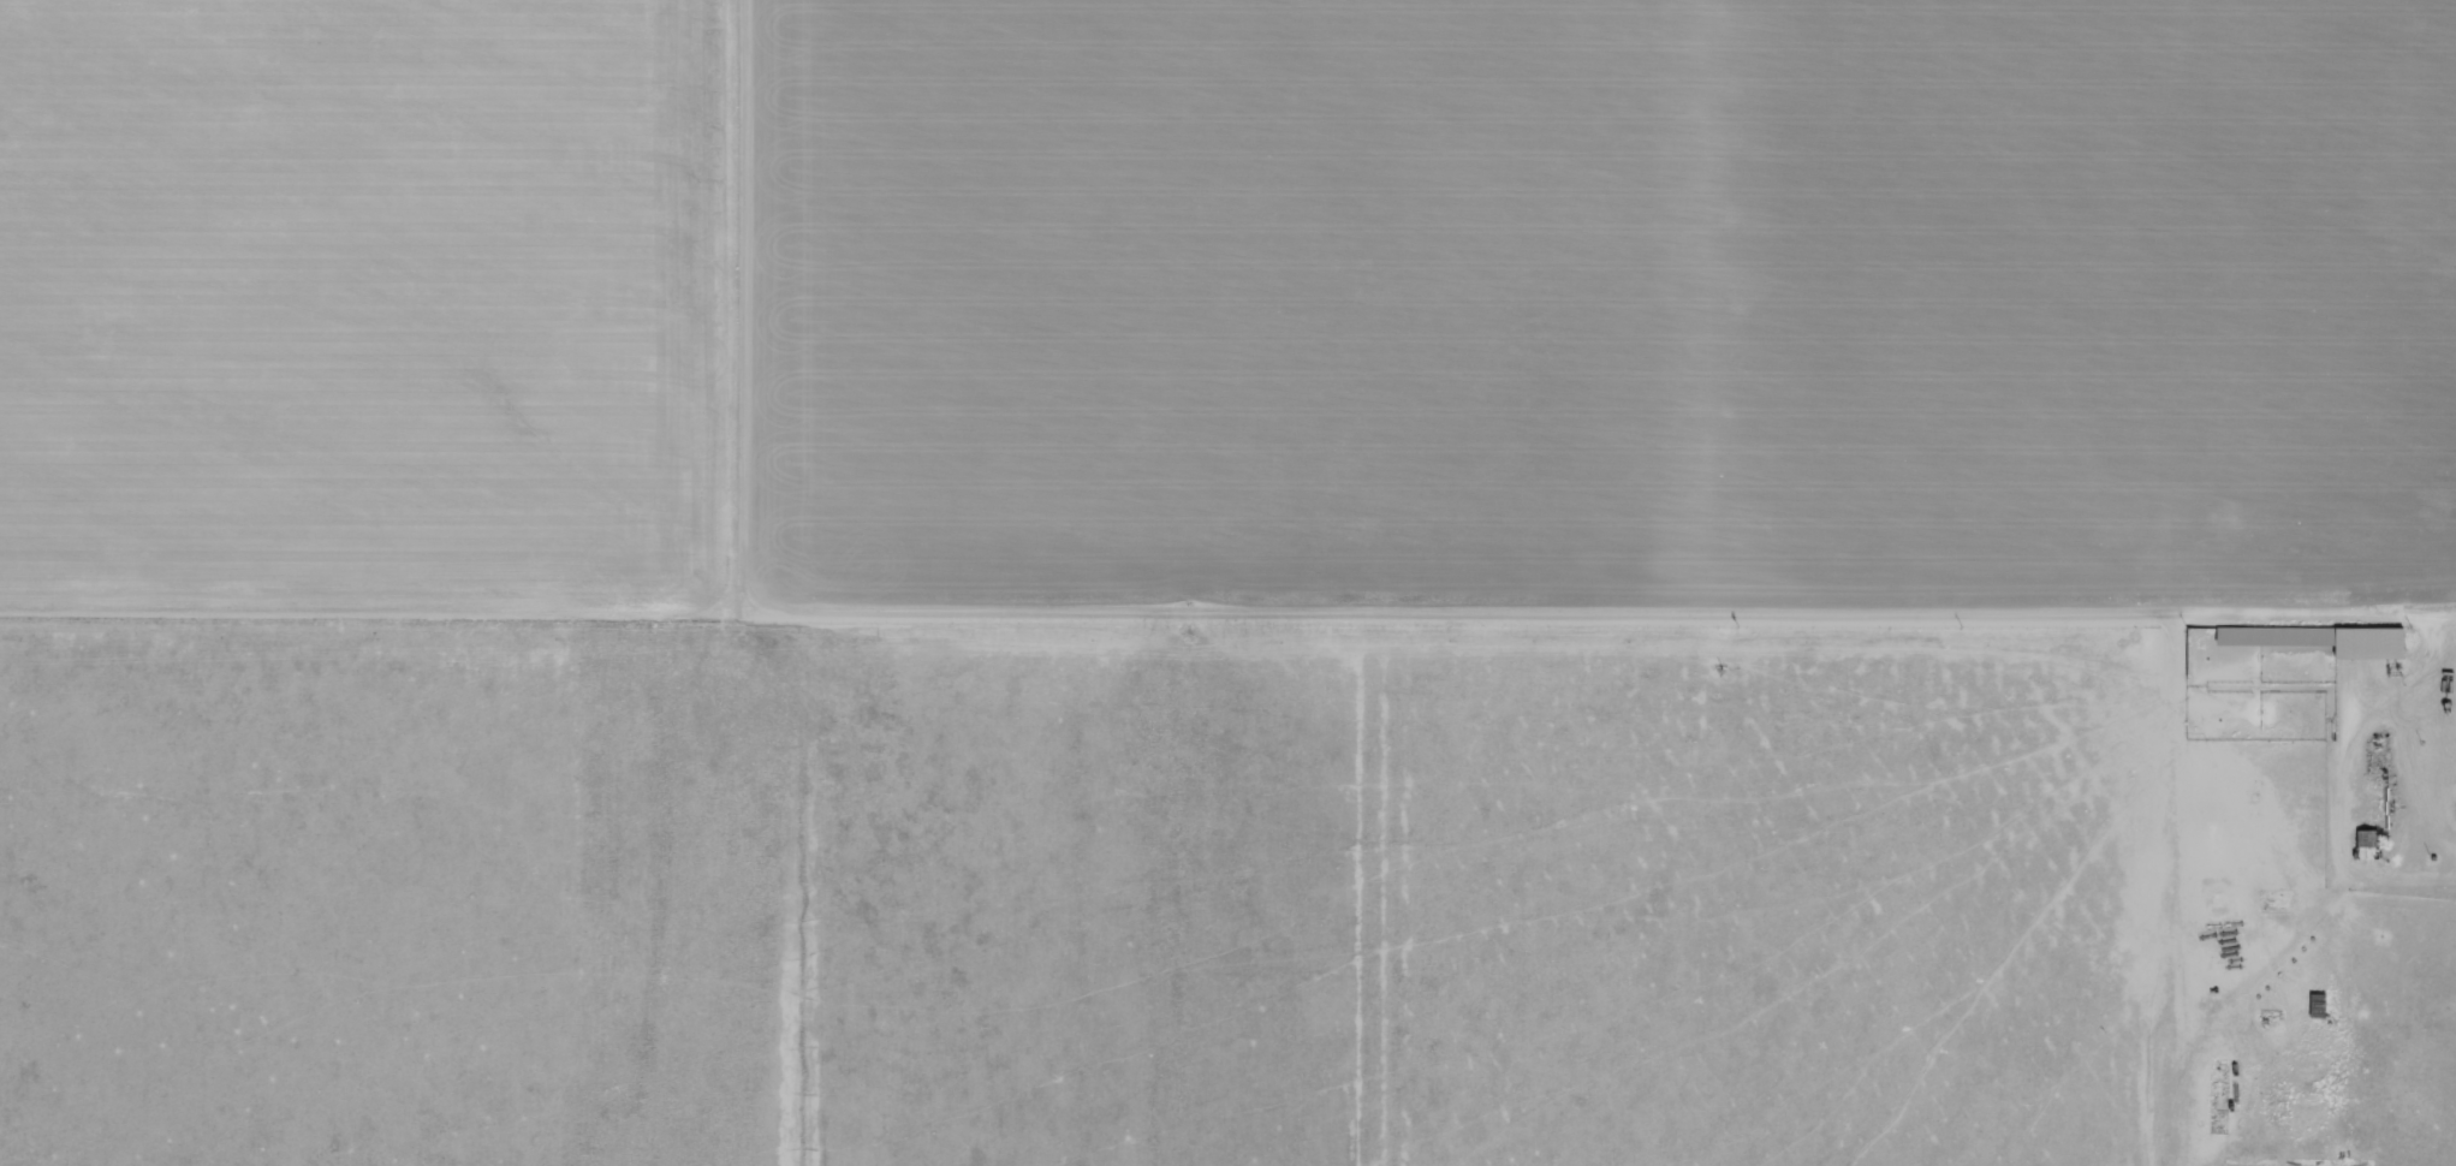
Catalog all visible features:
road: (698, 374)
building: (2323, 639)
road: (1227, 749)
building: (2368, 845)
building: (2216, 899)
building: (2319, 1006)

